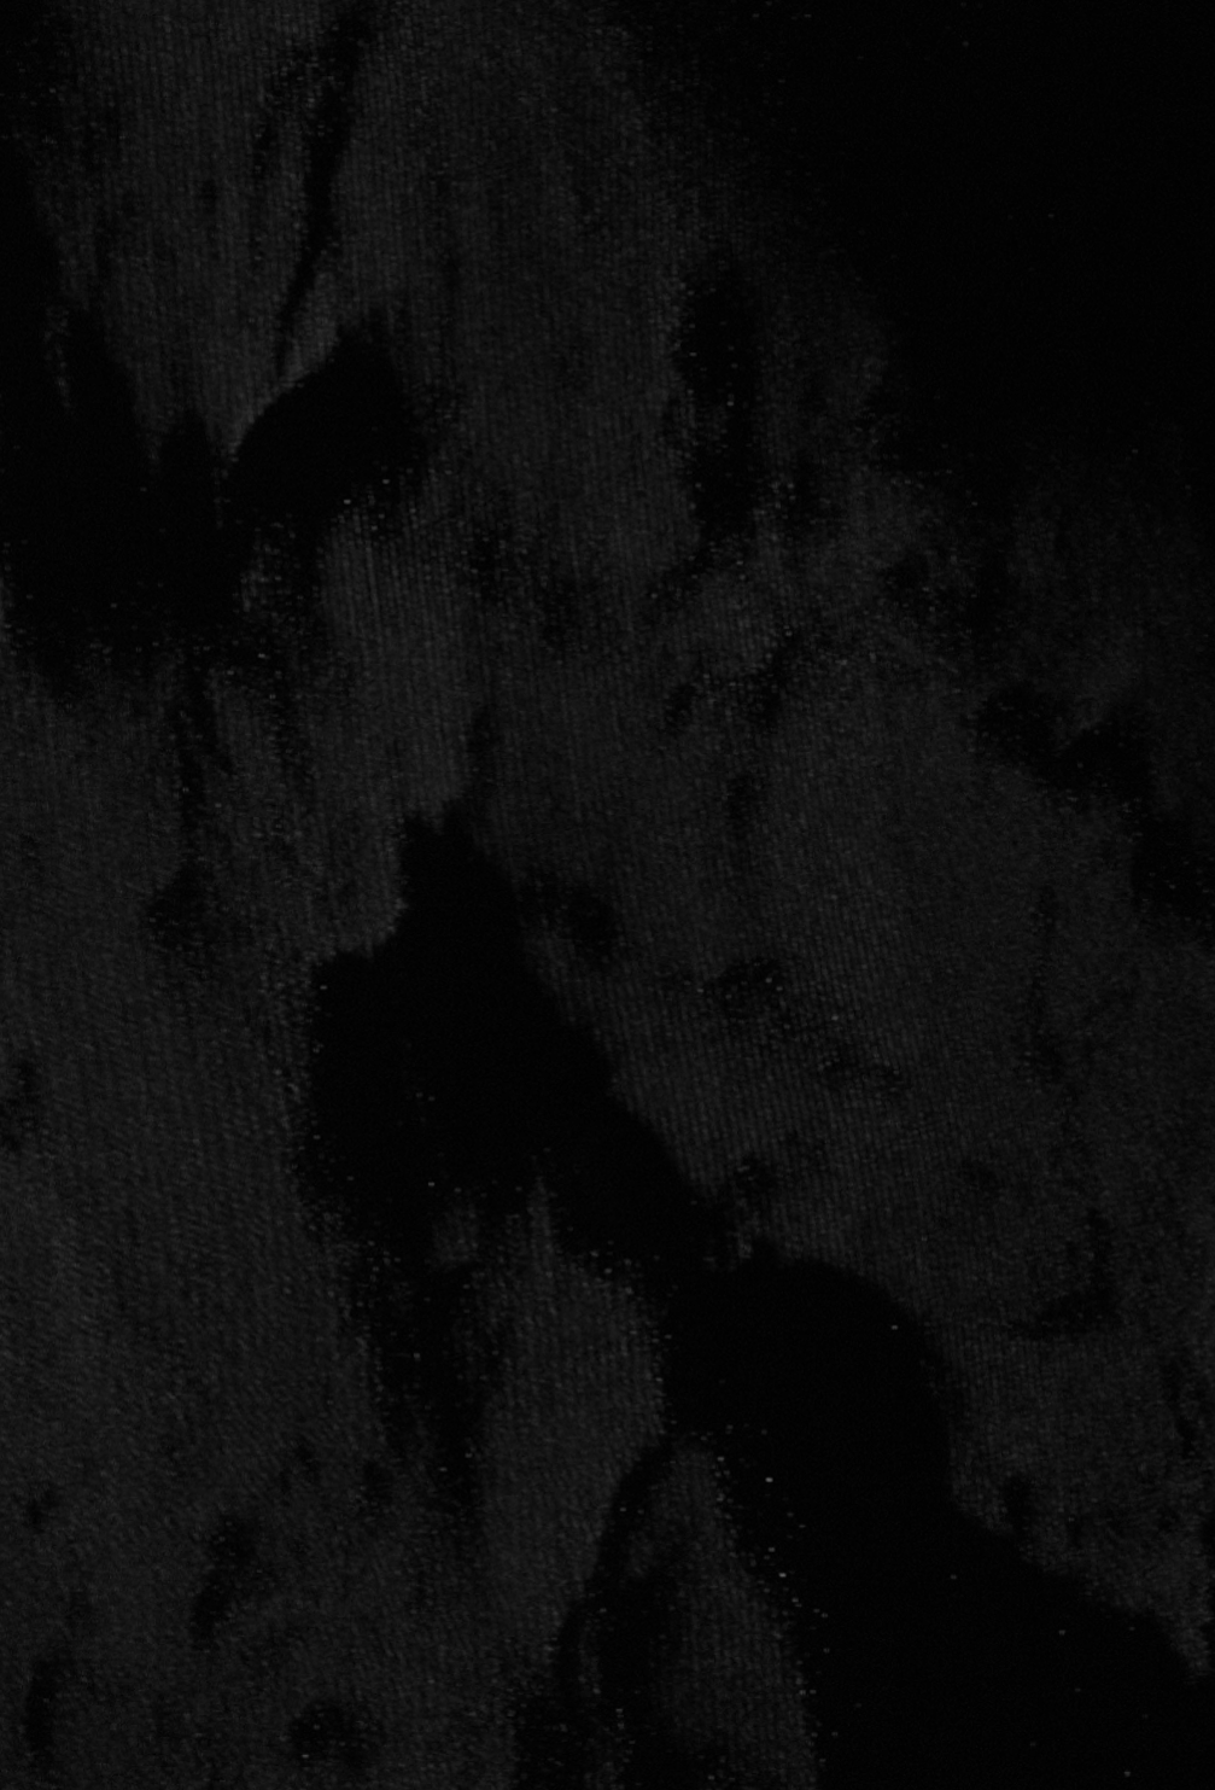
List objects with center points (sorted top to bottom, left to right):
river: (1205, 28)

